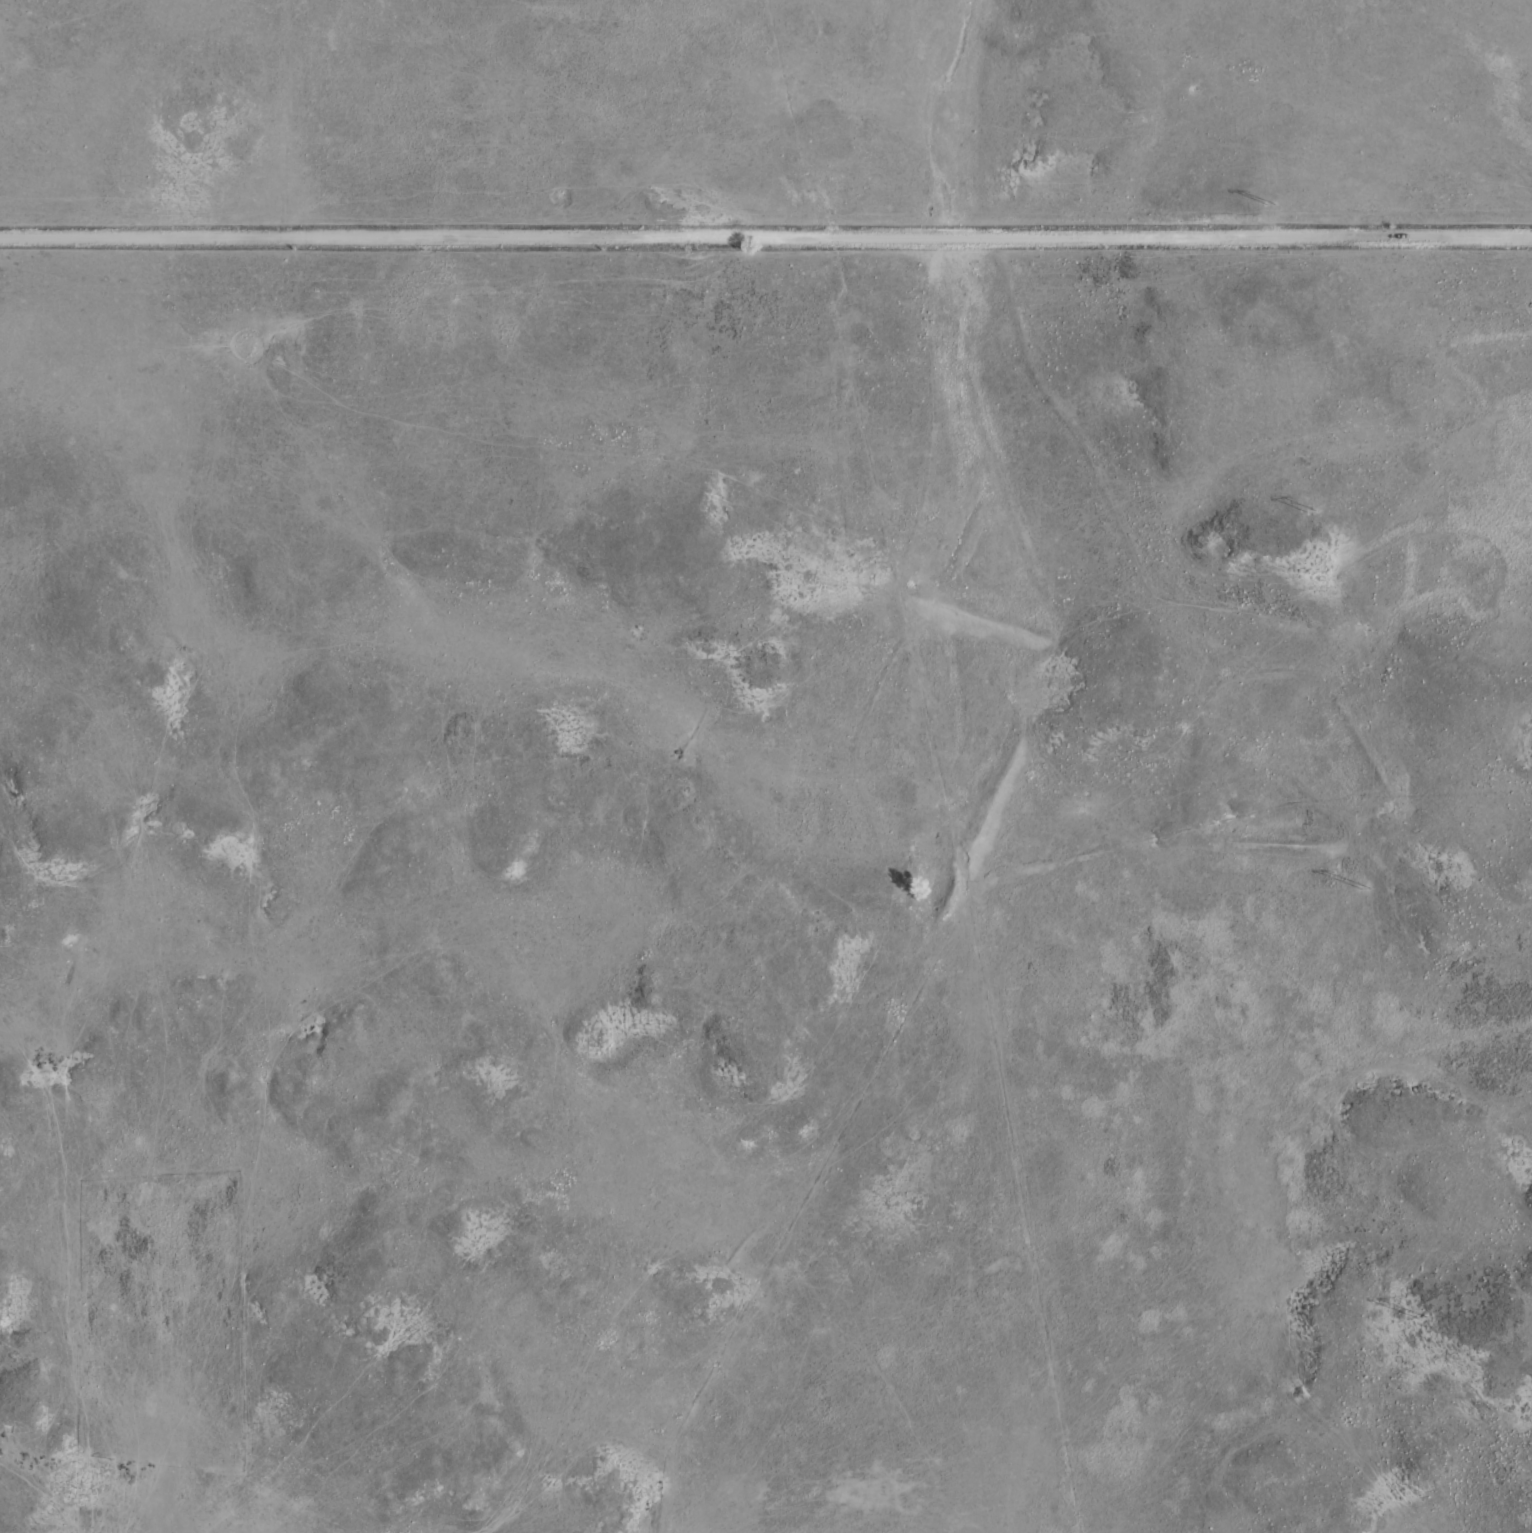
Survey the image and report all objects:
power tower: (1270, 203)
road: (766, 236)
power tower: (1312, 510)
power tower: (1365, 888)
power tower: (1422, 1315)

